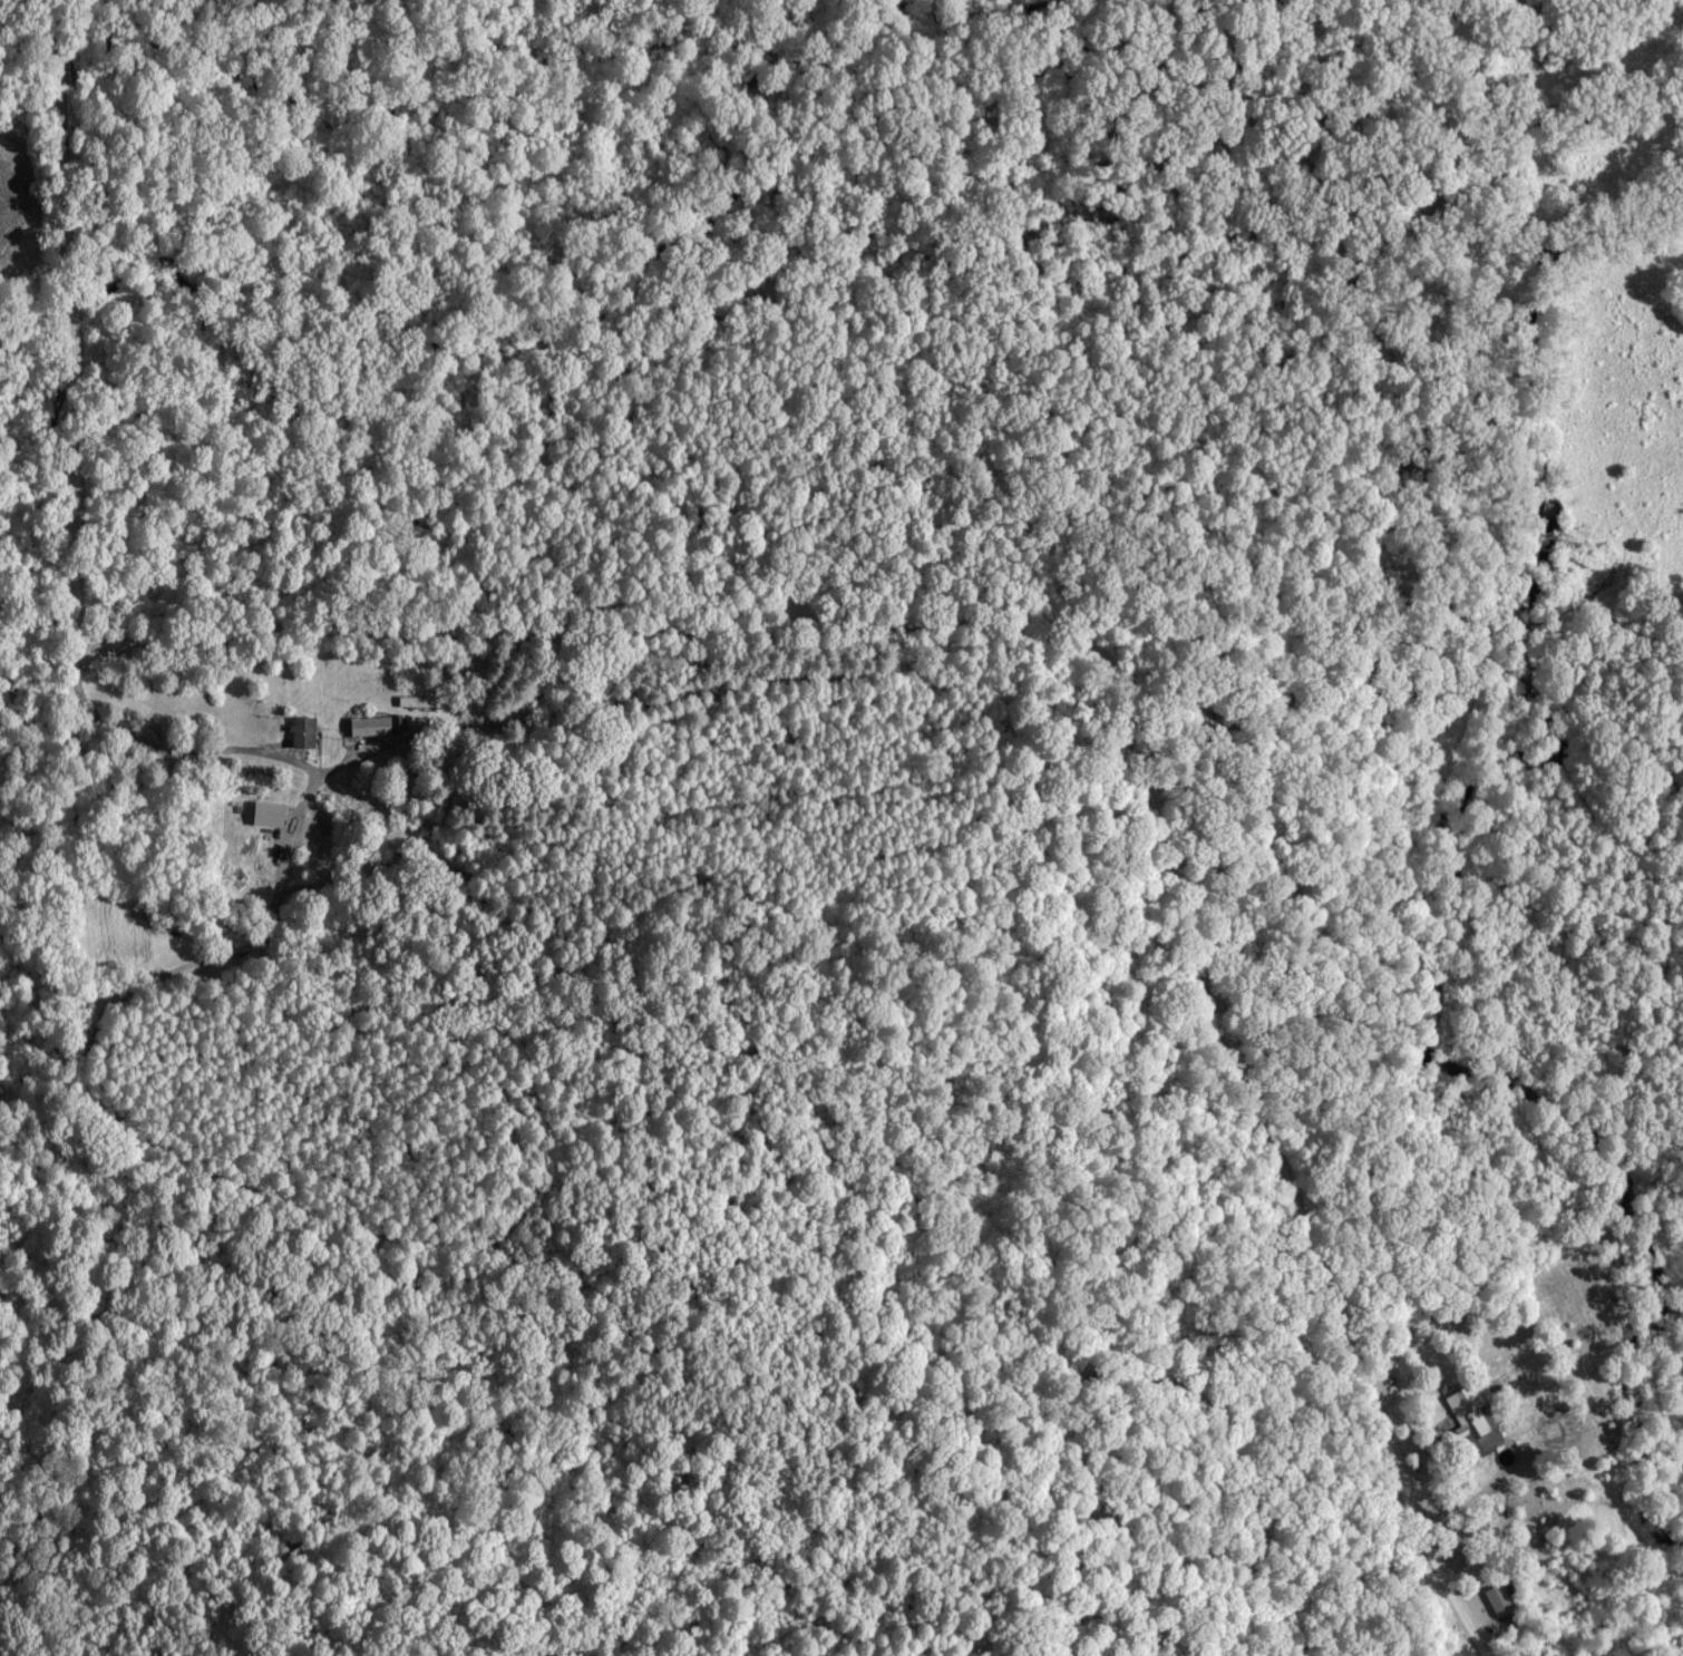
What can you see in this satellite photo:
road: (818, 620)
building: (414, 701)
building: (374, 724)
building: (304, 730)
building: (270, 842)
building: (1467, 1419)
building: (1492, 1597)

